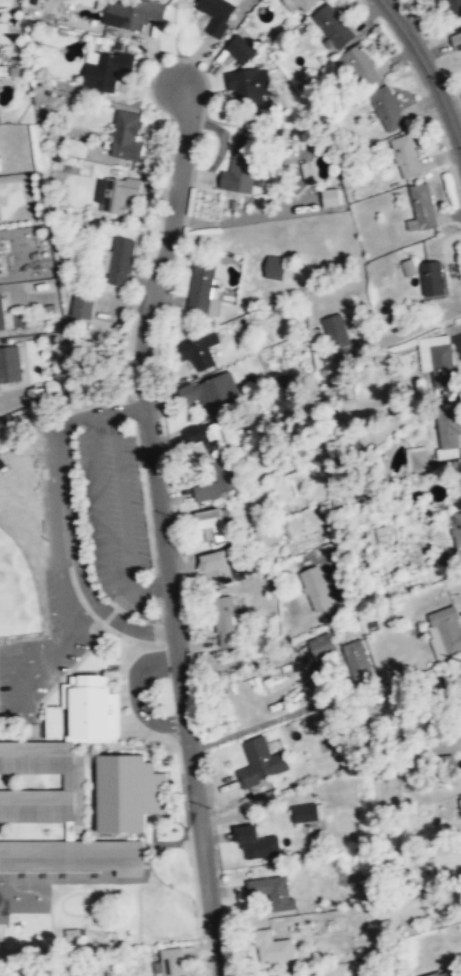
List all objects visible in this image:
building: (457, 2)
building: (298, 4)
building: (132, 13)
building: (216, 14)
building: (333, 26)
building: (456, 41)
building: (239, 48)
building: (361, 66)
building: (105, 70)
road: (428, 71)
building: (248, 83)
building: (387, 109)
building: (127, 136)
building: (406, 157)
building: (241, 167)
building: (116, 194)
building: (328, 197)
building: (421, 207)
building: (120, 261)
building: (275, 266)
building: (407, 267)
building: (432, 278)
building: (203, 287)
building: (82, 304)
building: (1, 314)
building: (338, 337)
building: (198, 351)
building: (436, 354)
building: (9, 365)
building: (213, 394)
building: (448, 428)
building: (215, 438)
building: (416, 457)
building: (212, 489)
road: (161, 526)
building: (212, 526)
building: (456, 528)
building: (267, 537)
building: (217, 567)
building: (316, 589)
park: (16, 590)
building: (227, 623)
building: (444, 632)
building: (318, 646)
parking lot: (43, 650)
building: (355, 657)
building: (87, 708)
building: (50, 721)
building: (259, 763)
building: (70, 780)
building: (128, 791)
building: (459, 802)
building: (300, 811)
building: (257, 844)
building: (75, 854)
building: (271, 893)
building: (272, 948)
building: (171, 963)
building: (437, 974)
building: (287, 975)

